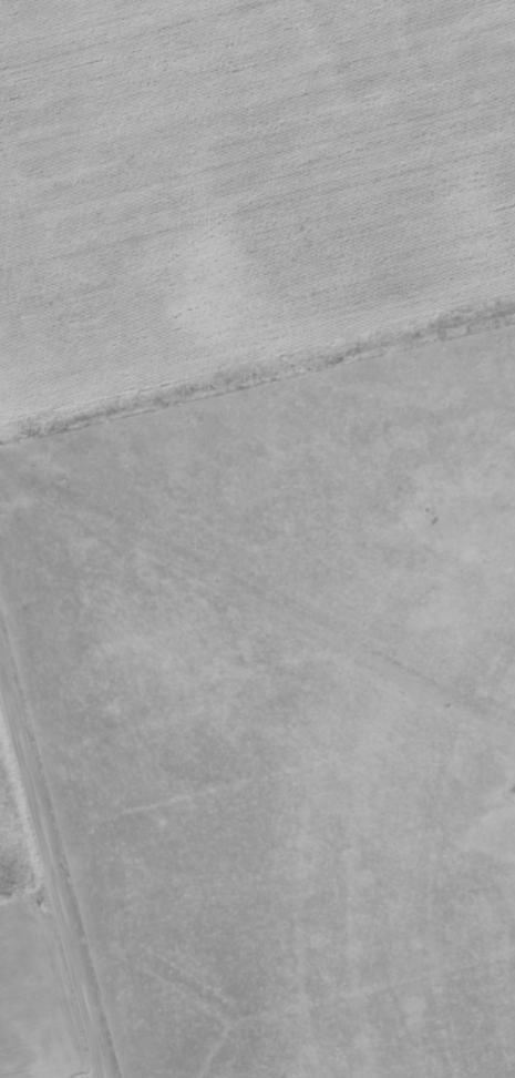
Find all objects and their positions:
road: (52, 873)

